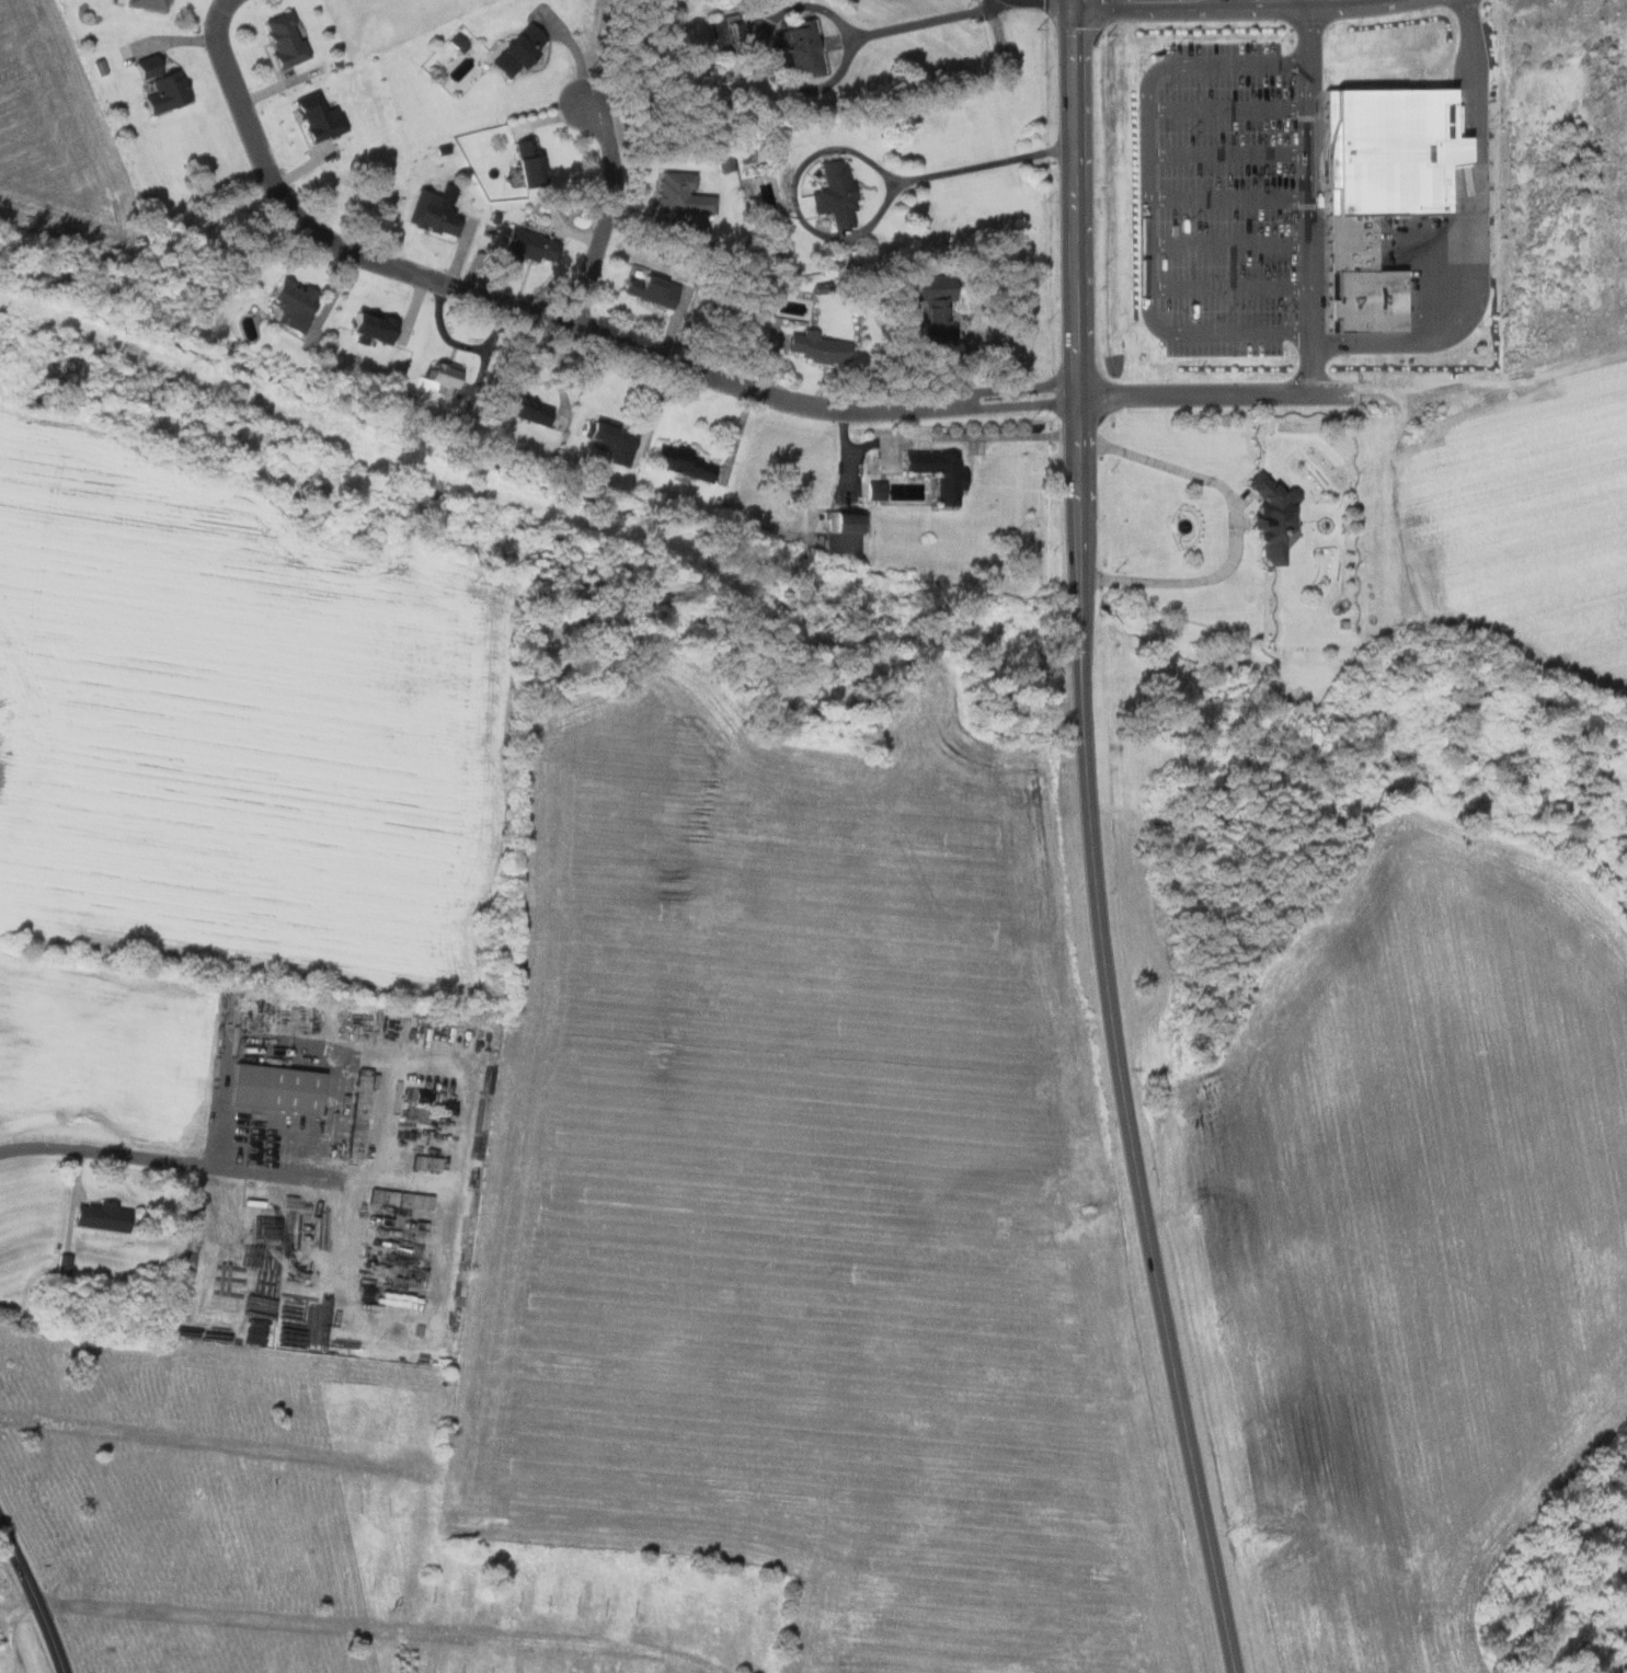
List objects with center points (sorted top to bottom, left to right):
building: (146, 2)
road: (929, 21)
building: (729, 32)
building: (289, 37)
building: (526, 48)
building: (802, 49)
building: (142, 67)
building: (164, 90)
road: (1229, 107)
building: (316, 116)
building: (1384, 151)
road: (1229, 152)
building: (723, 161)
building: (531, 163)
road: (1310, 176)
building: (685, 193)
building: (839, 193)
road: (1149, 197)
road: (1230, 197)
road: (617, 209)
building: (435, 211)
road: (868, 226)
building: (550, 241)
road: (1231, 242)
building: (1348, 243)
building: (526, 245)
building: (654, 288)
building: (942, 288)
road: (1231, 288)
building: (1360, 301)
building: (290, 303)
road: (1080, 306)
building: (369, 325)
road: (565, 326)
road: (1424, 339)
building: (822, 347)
building: (442, 375)
building: (520, 406)
road: (947, 437)
building: (609, 442)
building: (681, 461)
building: (936, 472)
building: (873, 490)
building: (1269, 518)
road: (1236, 524)
building: (846, 529)
road: (339, 1066)
building: (272, 1088)
road: (1139, 1145)
road: (104, 1151)
building: (100, 1216)
road: (34, 1596)

